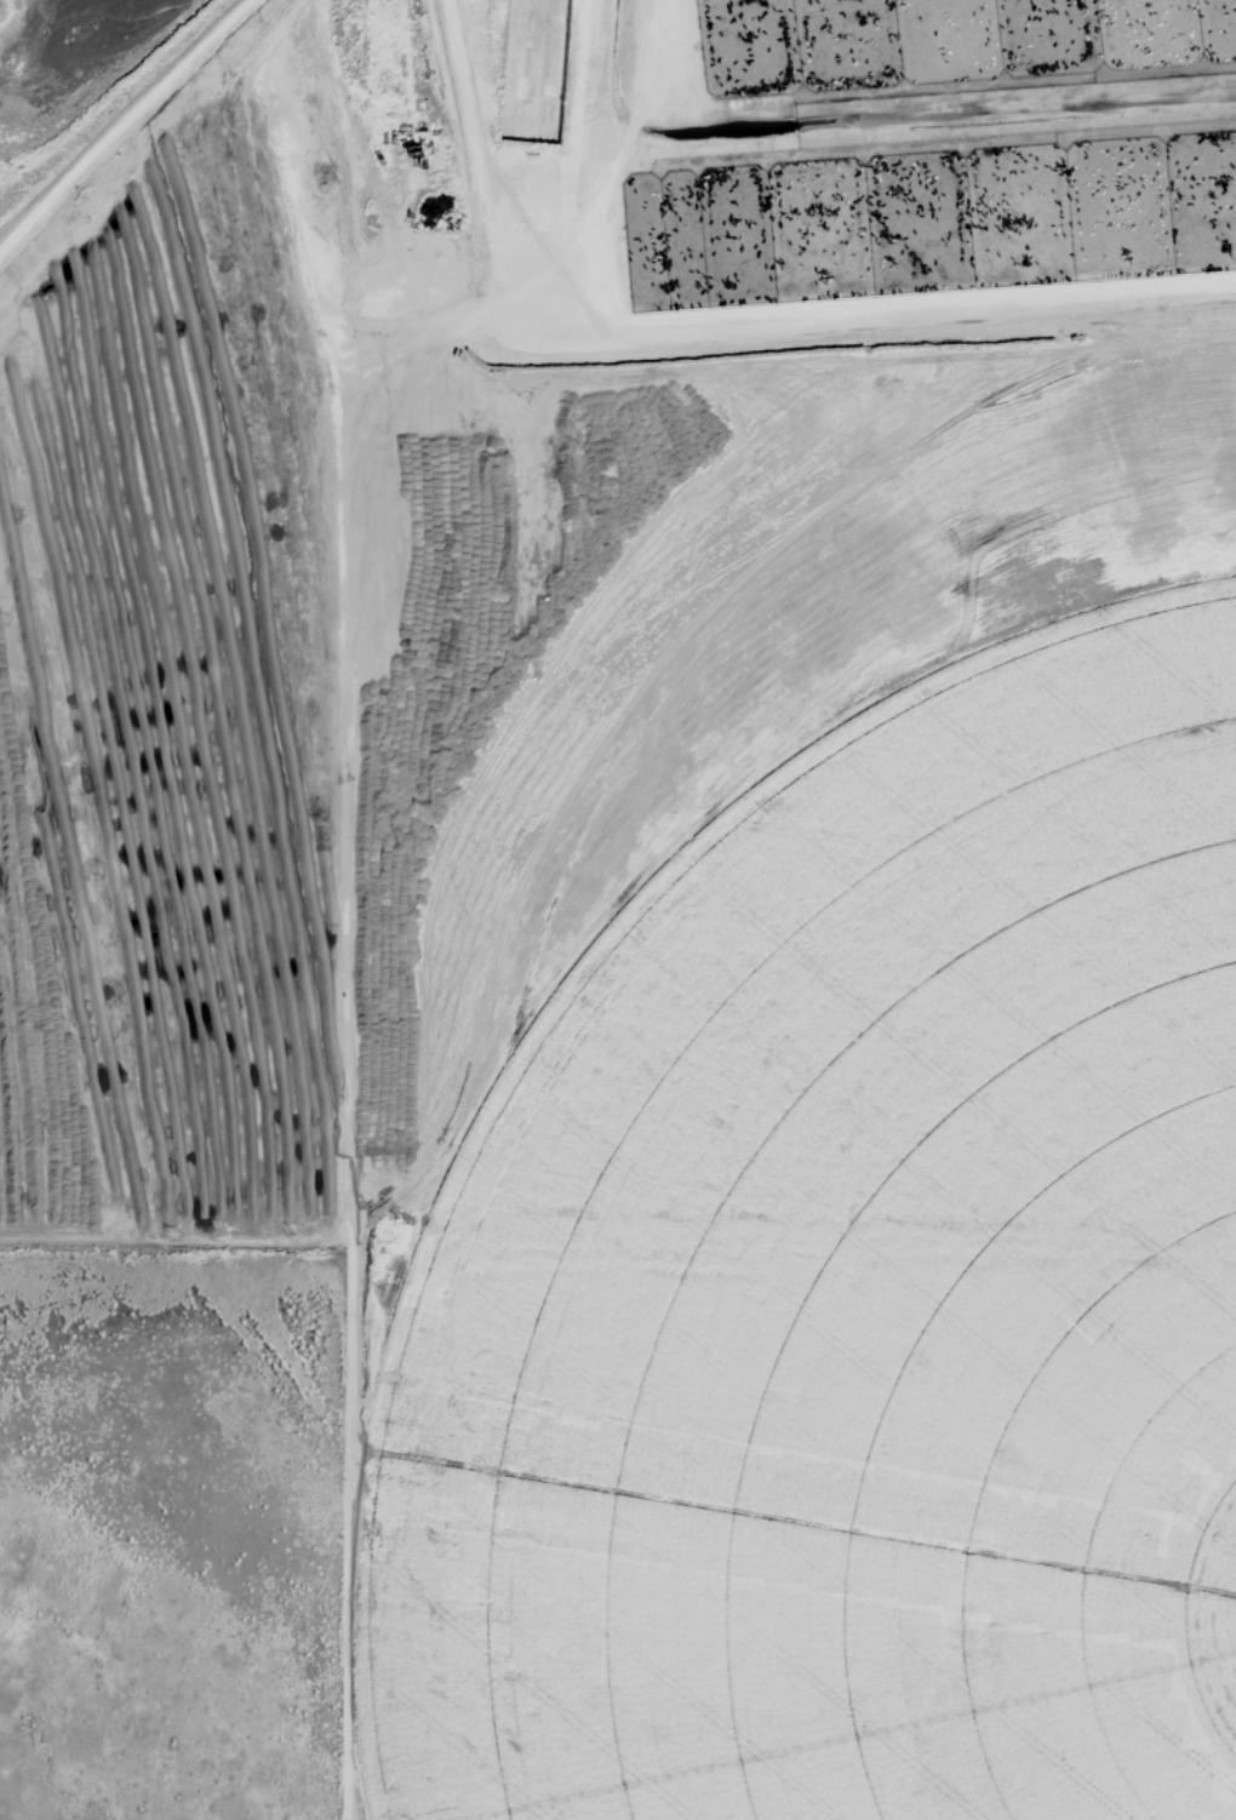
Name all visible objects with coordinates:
road: (125, 125)

